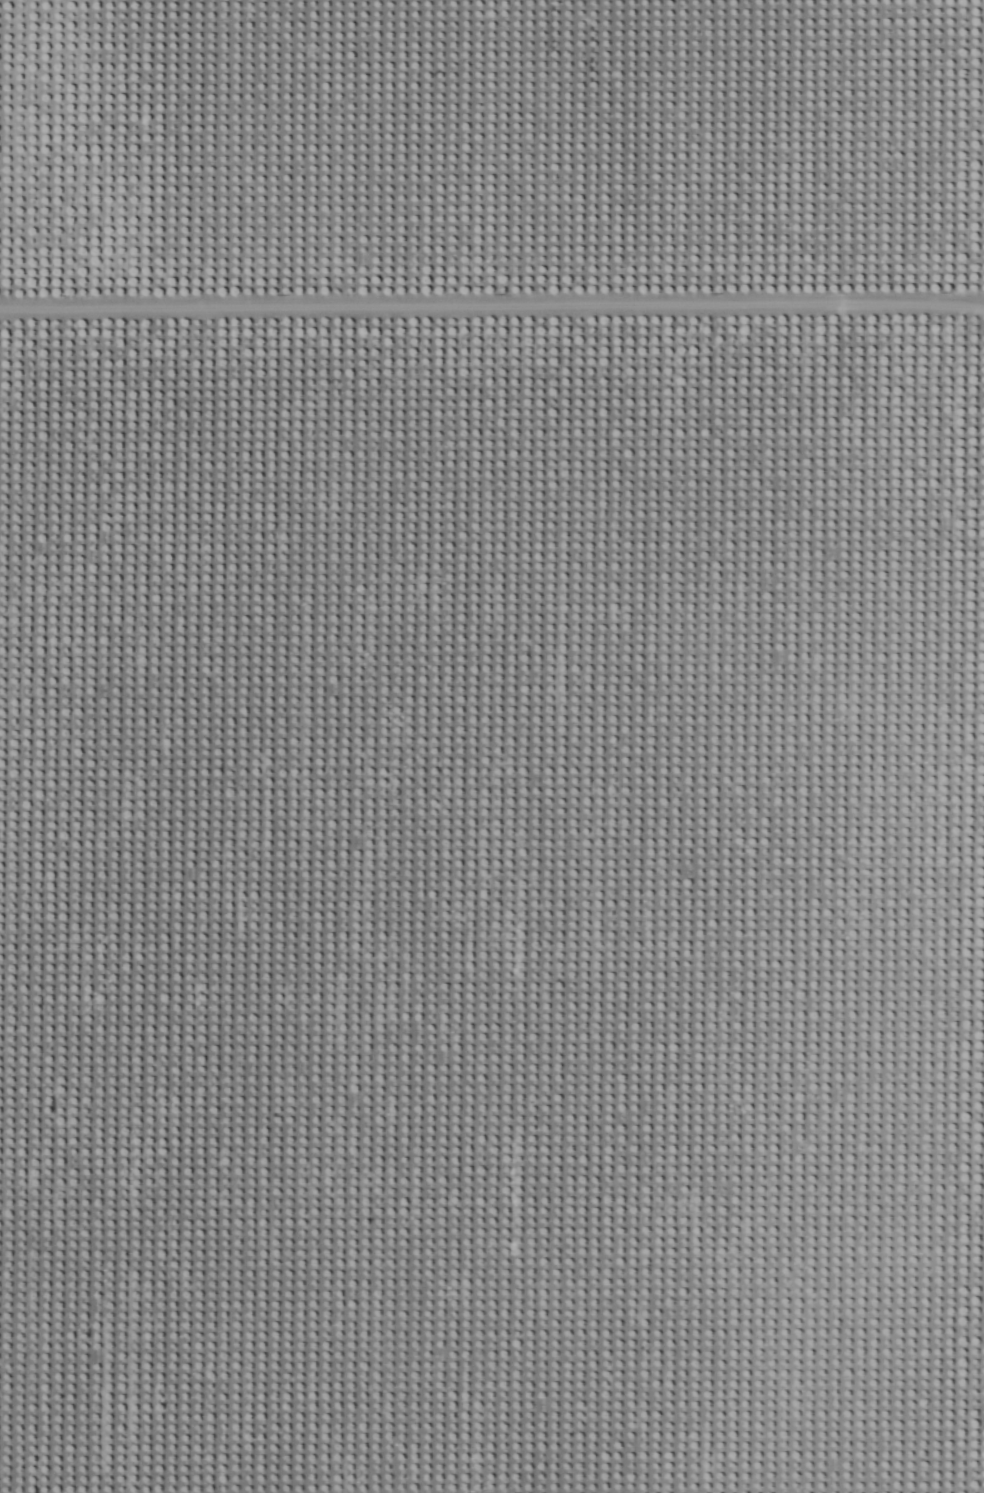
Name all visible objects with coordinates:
crop: (488, 166)
crop: (492, 913)

